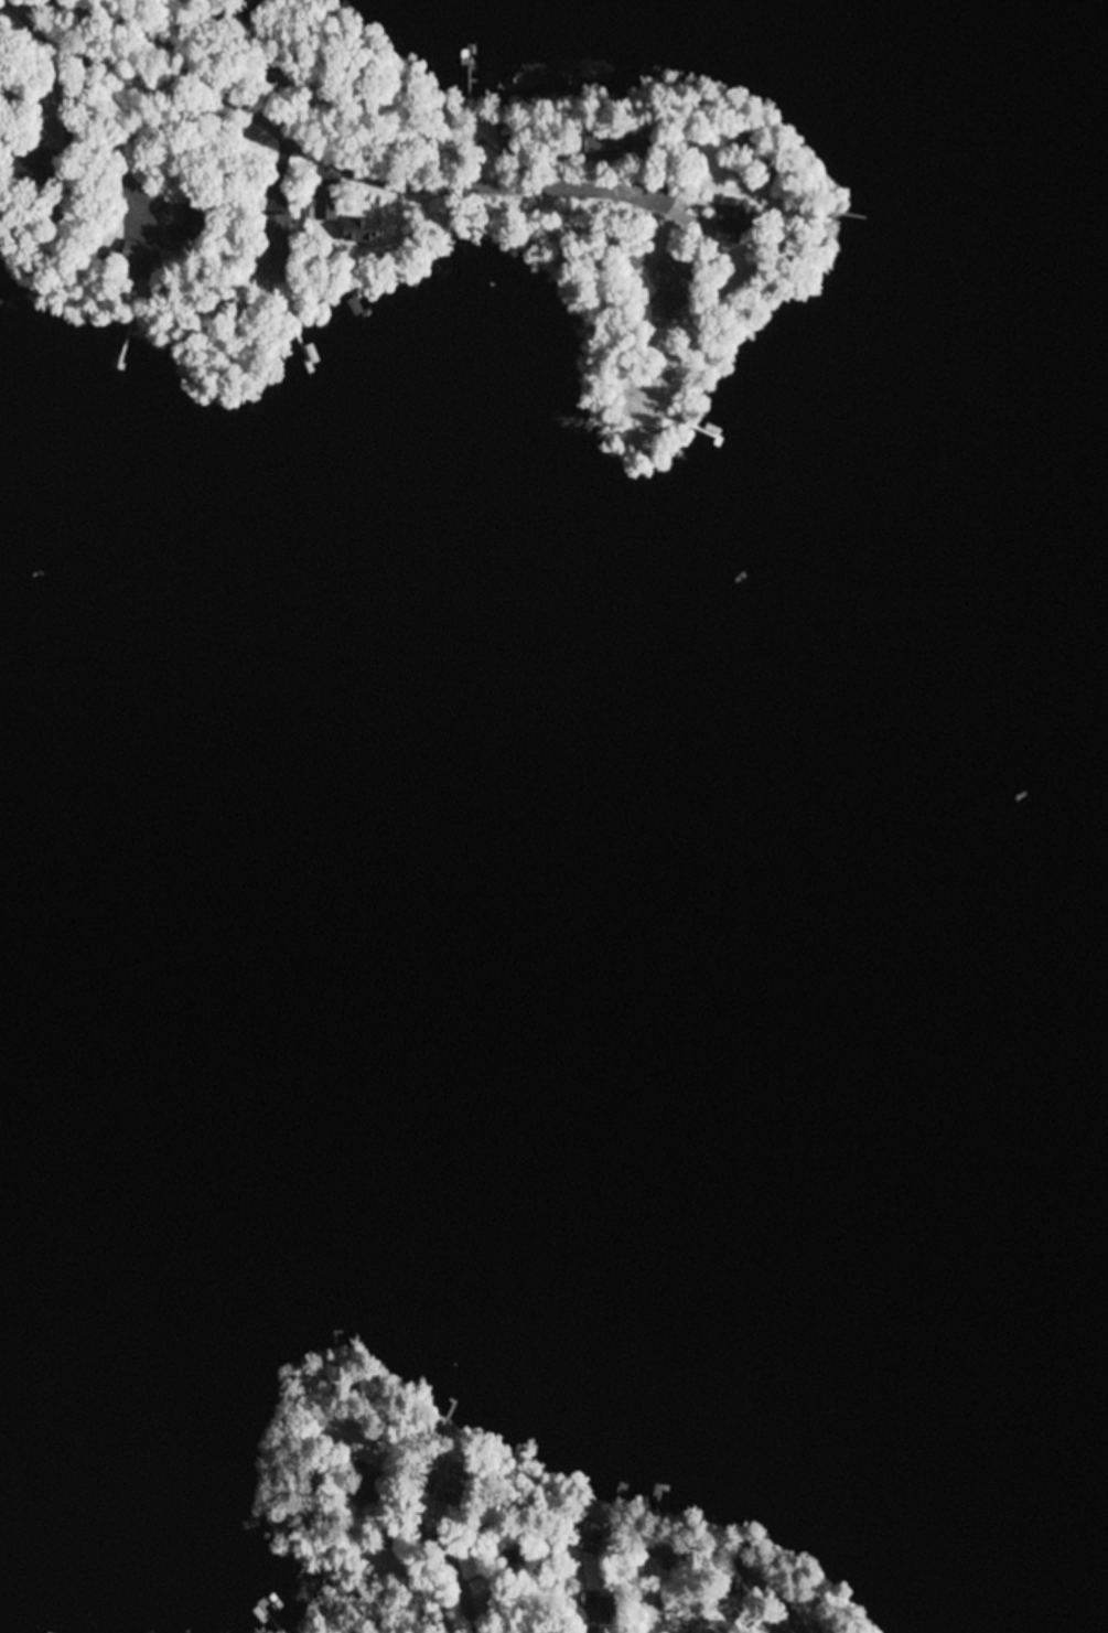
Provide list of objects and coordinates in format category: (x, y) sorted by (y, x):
building: (605, 149)
road: (316, 155)
building: (32, 166)
building: (325, 210)
building: (196, 218)
building: (732, 219)
building: (361, 230)
building: (273, 240)
building: (133, 259)
building: (634, 259)
building: (673, 288)
building: (365, 1487)
building: (449, 1492)
building: (584, 1537)
building: (657, 1550)
road: (447, 1564)
building: (764, 1584)
building: (483, 1598)
building: (792, 1618)

